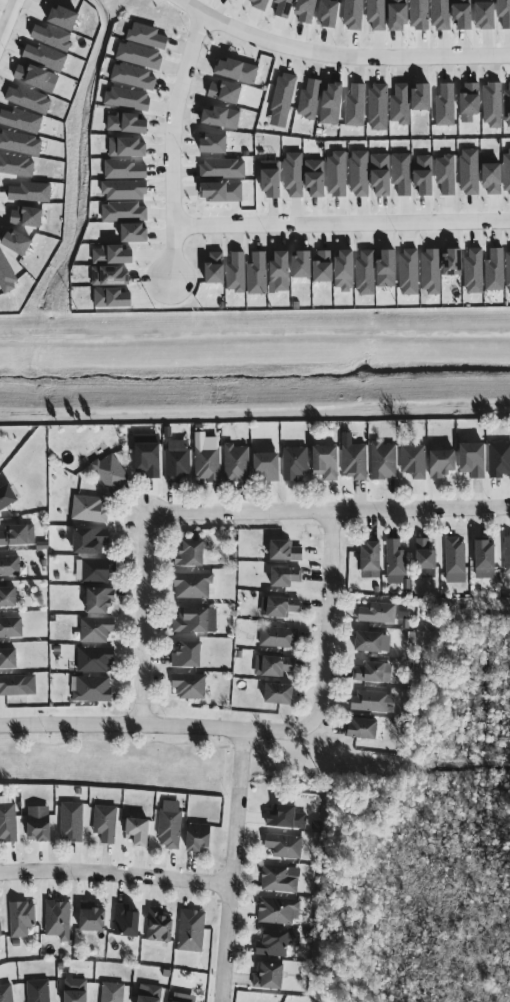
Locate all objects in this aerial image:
building: (242, 0)
building: (260, 4)
building: (283, 8)
building: (306, 11)
building: (328, 13)
building: (504, 13)
building: (377, 14)
building: (464, 14)
building: (353, 15)
building: (398, 15)
building: (419, 15)
building: (441, 15)
building: (485, 16)
road: (8, 18)
building: (64, 18)
building: (52, 37)
building: (147, 37)
road: (338, 54)
building: (139, 56)
building: (45, 57)
building: (237, 71)
building: (31, 76)
building: (133, 77)
building: (225, 92)
building: (283, 97)
building: (422, 97)
building: (128, 99)
building: (471, 99)
building: (29, 100)
building: (309, 100)
building: (332, 104)
building: (400, 105)
building: (492, 105)
building: (355, 106)
building: (445, 106)
building: (378, 108)
building: (507, 108)
building: (221, 118)
building: (21, 121)
building: (127, 124)
building: (20, 143)
building: (215, 144)
road: (172, 145)
building: (128, 148)
building: (16, 166)
building: (223, 169)
building: (124, 170)
building: (506, 171)
building: (469, 172)
building: (294, 174)
building: (359, 174)
building: (381, 174)
building: (402, 174)
building: (336, 175)
building: (424, 175)
building: (446, 175)
building: (492, 177)
building: (316, 178)
building: (271, 180)
building: (125, 190)
building: (222, 192)
building: (31, 193)
building: (124, 212)
building: (26, 218)
road: (342, 223)
building: (135, 234)
building: (17, 243)
building: (113, 256)
building: (453, 264)
building: (302, 266)
building: (324, 267)
building: (215, 268)
building: (345, 270)
building: (387, 270)
building: (495, 270)
building: (508, 271)
building: (281, 272)
building: (431, 272)
building: (474, 272)
building: (236, 273)
building: (365, 273)
building: (409, 273)
building: (257, 274)
building: (6, 276)
building: (111, 277)
building: (113, 299)
road: (255, 337)
river: (255, 367)
building: (148, 455)
building: (499, 458)
building: (473, 459)
building: (383, 460)
building: (326, 461)
building: (355, 461)
building: (414, 461)
building: (177, 462)
building: (295, 462)
building: (208, 463)
building: (236, 463)
building: (442, 463)
building: (268, 465)
building: (111, 473)
building: (7, 496)
building: (89, 508)
road: (329, 513)
building: (18, 535)
building: (91, 541)
building: (285, 550)
building: (191, 554)
building: (371, 556)
building: (506, 556)
building: (426, 559)
building: (485, 559)
building: (455, 561)
building: (396, 563)
building: (9, 566)
building: (95, 570)
building: (286, 576)
building: (192, 586)
building: (8, 596)
building: (100, 600)
building: (279, 606)
building: (378, 613)
building: (403, 617)
building: (195, 620)
road: (327, 620)
road: (146, 624)
building: (10, 627)
building: (96, 629)
building: (277, 637)
building: (370, 641)
building: (188, 655)
building: (8, 658)
building: (94, 659)
building: (274, 665)
building: (370, 672)
building: (17, 685)
building: (190, 686)
building: (91, 689)
building: (280, 693)
building: (370, 701)
road: (155, 727)
building: (361, 728)
building: (285, 816)
building: (7, 819)
building: (71, 821)
building: (39, 823)
building: (105, 823)
building: (169, 828)
building: (139, 831)
building: (199, 837)
building: (284, 845)
road: (236, 866)
road: (117, 874)
building: (280, 878)
building: (278, 911)
building: (21, 918)
building: (92, 918)
building: (57, 919)
building: (126, 921)
building: (158, 926)
building: (0, 929)
building: (191, 930)
building: (277, 943)
building: (270, 976)
building: (76, 990)
building: (38, 991)
building: (112, 992)
building: (6, 993)
building: (150, 993)
building: (184, 998)

